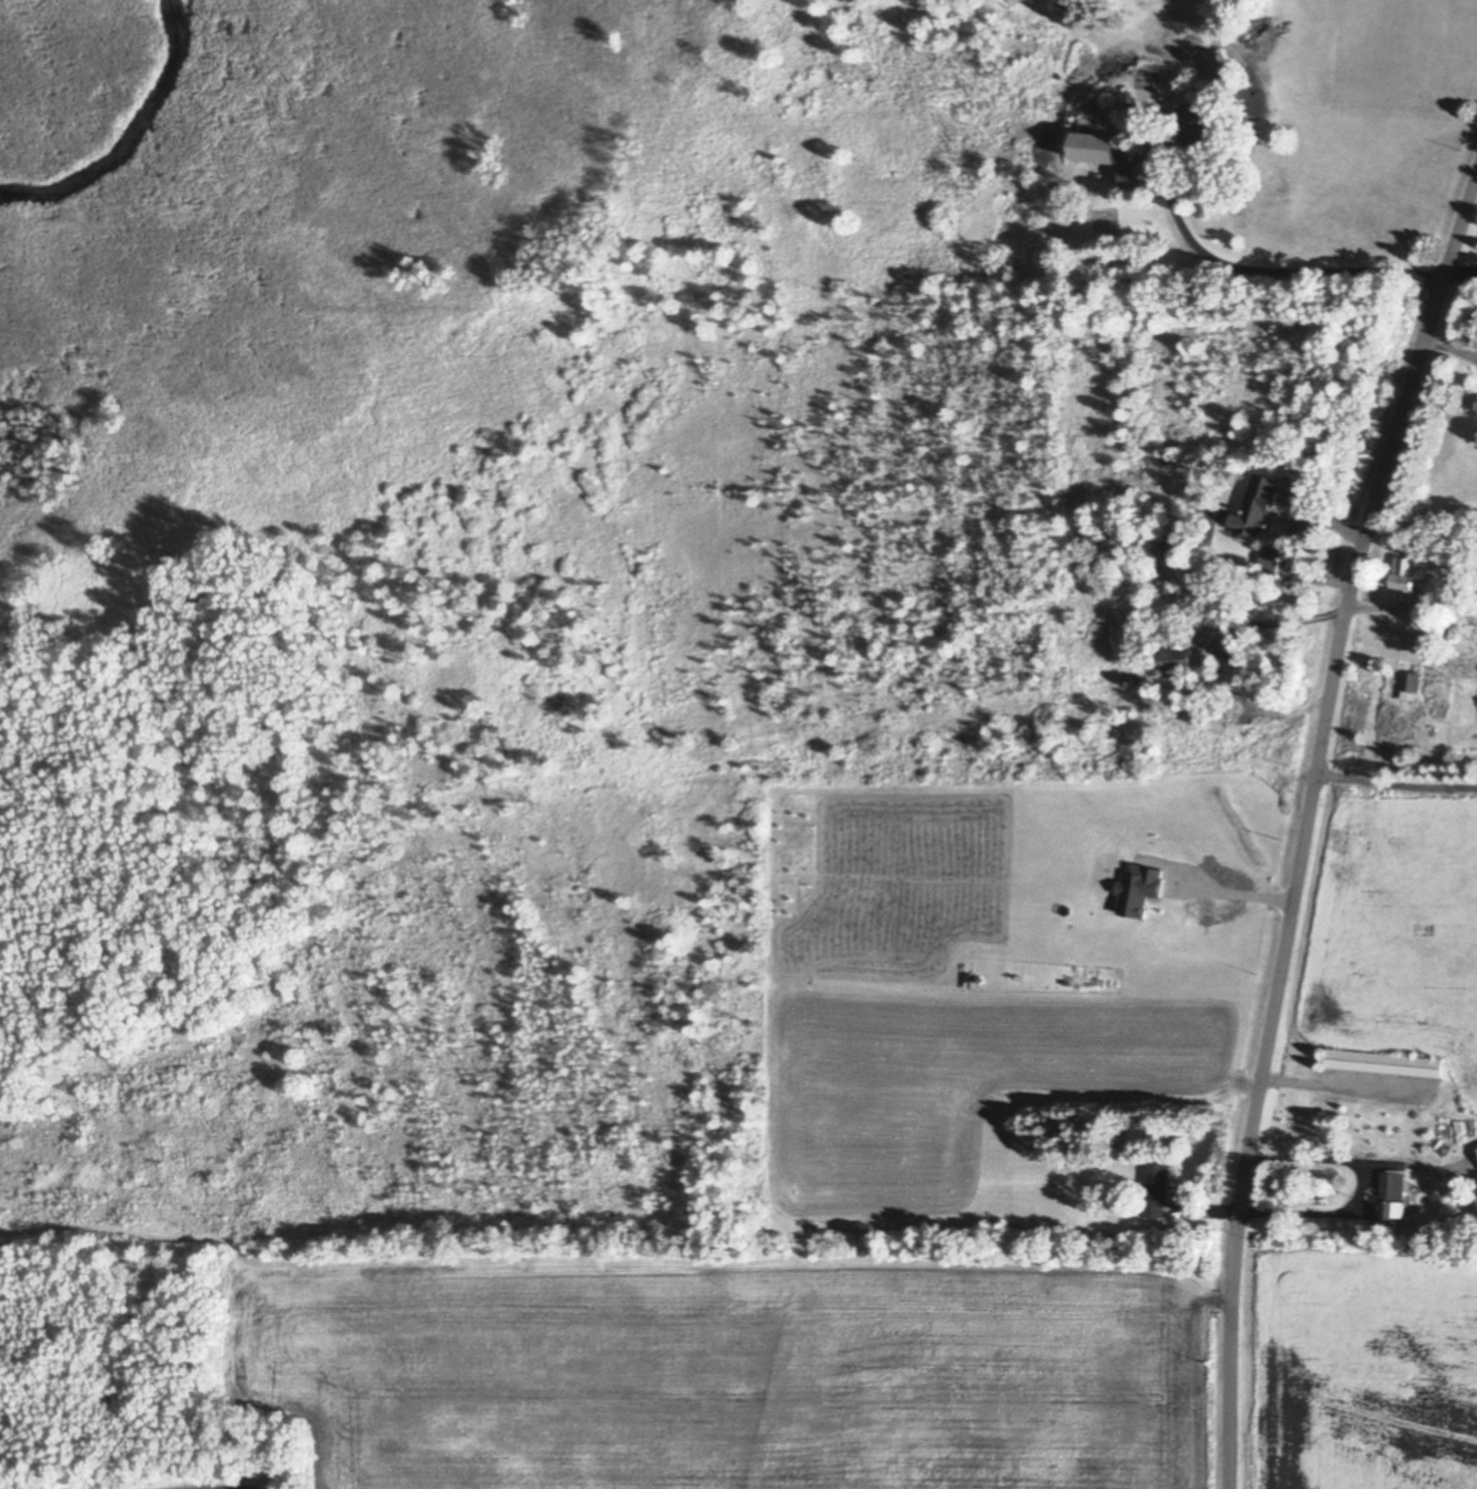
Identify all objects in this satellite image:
building: (1039, 84)
building: (1207, 94)
building: (1198, 127)
river: (131, 139)
building: (1094, 149)
building: (1126, 156)
building: (1128, 176)
building: (1105, 237)
road: (1275, 278)
building: (1204, 493)
building: (1253, 532)
road: (1282, 548)
building: (1270, 561)
building: (1408, 576)
building: (1233, 654)
building: (1179, 658)
building: (1288, 662)
building: (1410, 684)
building: (1395, 694)
road: (1396, 780)
road: (1307, 823)
road: (1237, 890)
building: (1383, 1062)
road: (1342, 1082)
building: (1476, 1151)
building: (1141, 1187)
road: (1357, 1187)
building: (1156, 1189)
building: (1391, 1201)
building: (1405, 1208)
building: (990, 1226)
building: (814, 1227)
building: (945, 1232)
building: (1103, 1233)

